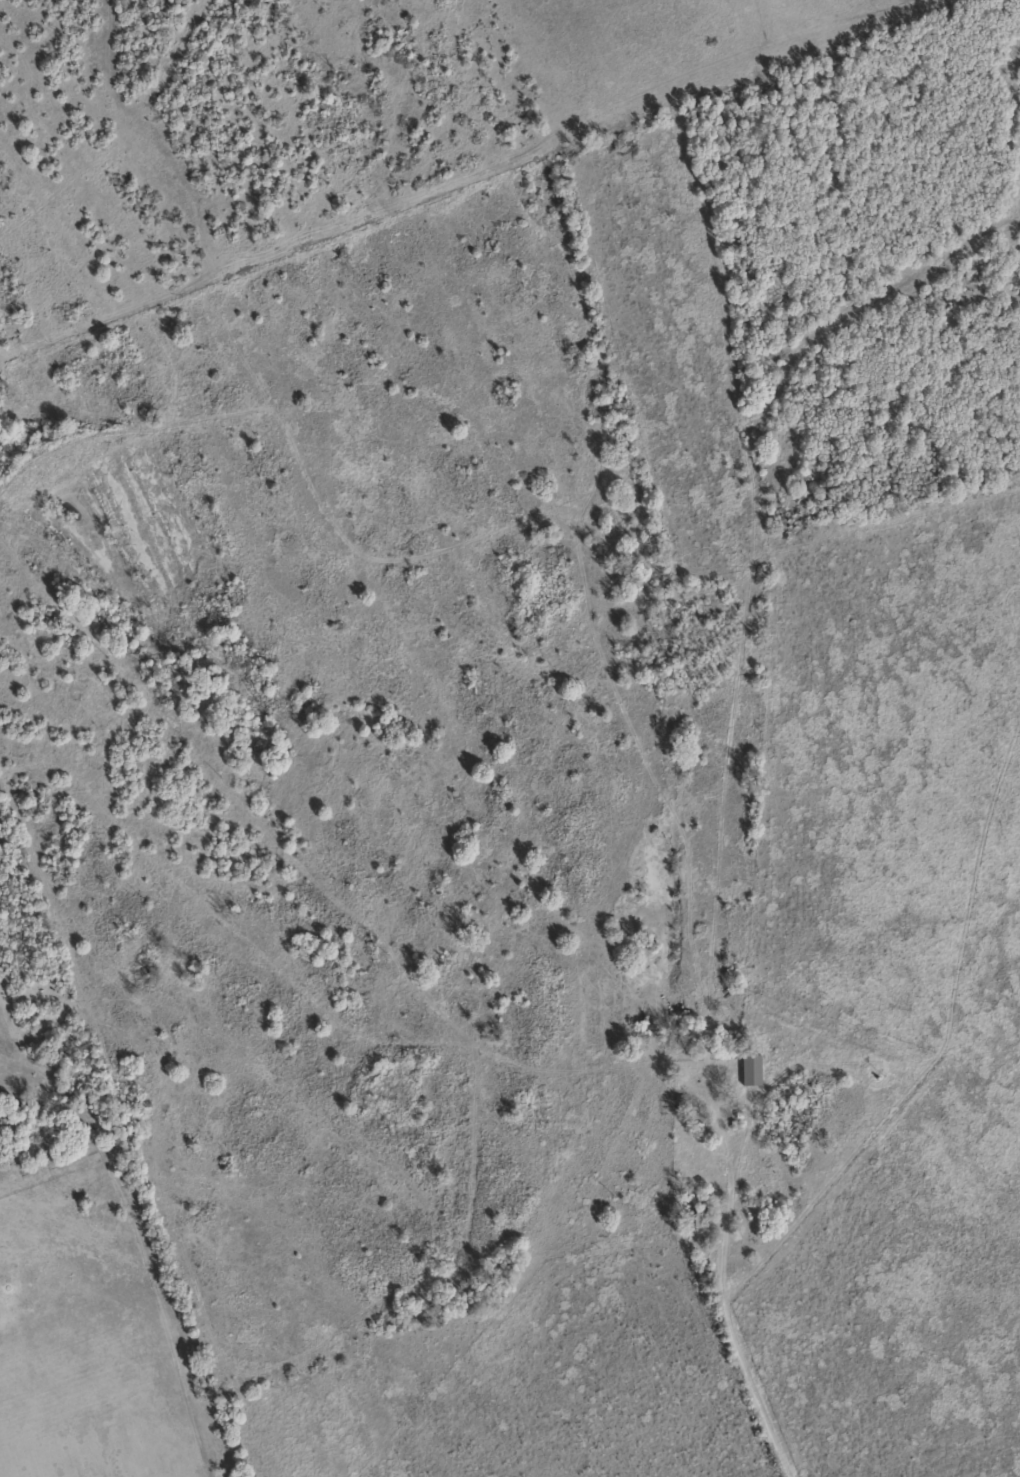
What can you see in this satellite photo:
building: (748, 1070)
building: (692, 1218)
road: (773, 1359)

